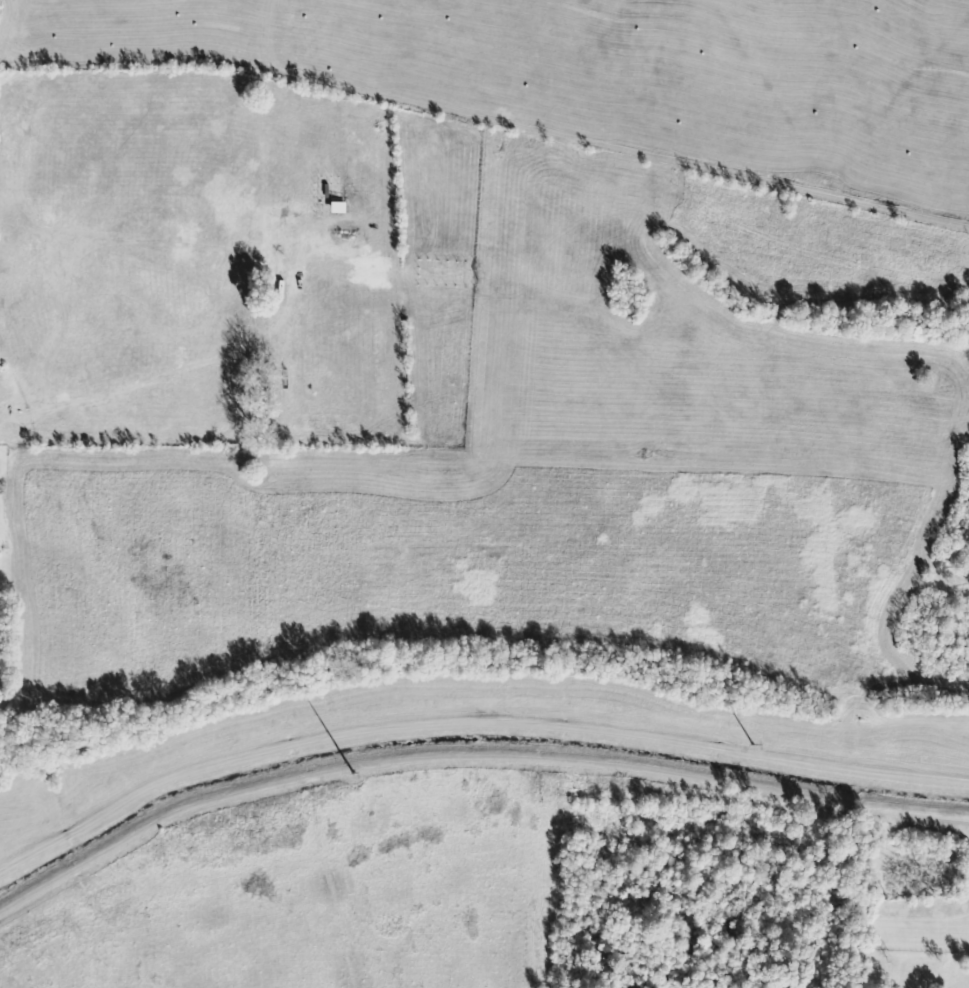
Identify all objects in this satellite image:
building: (336, 207)

